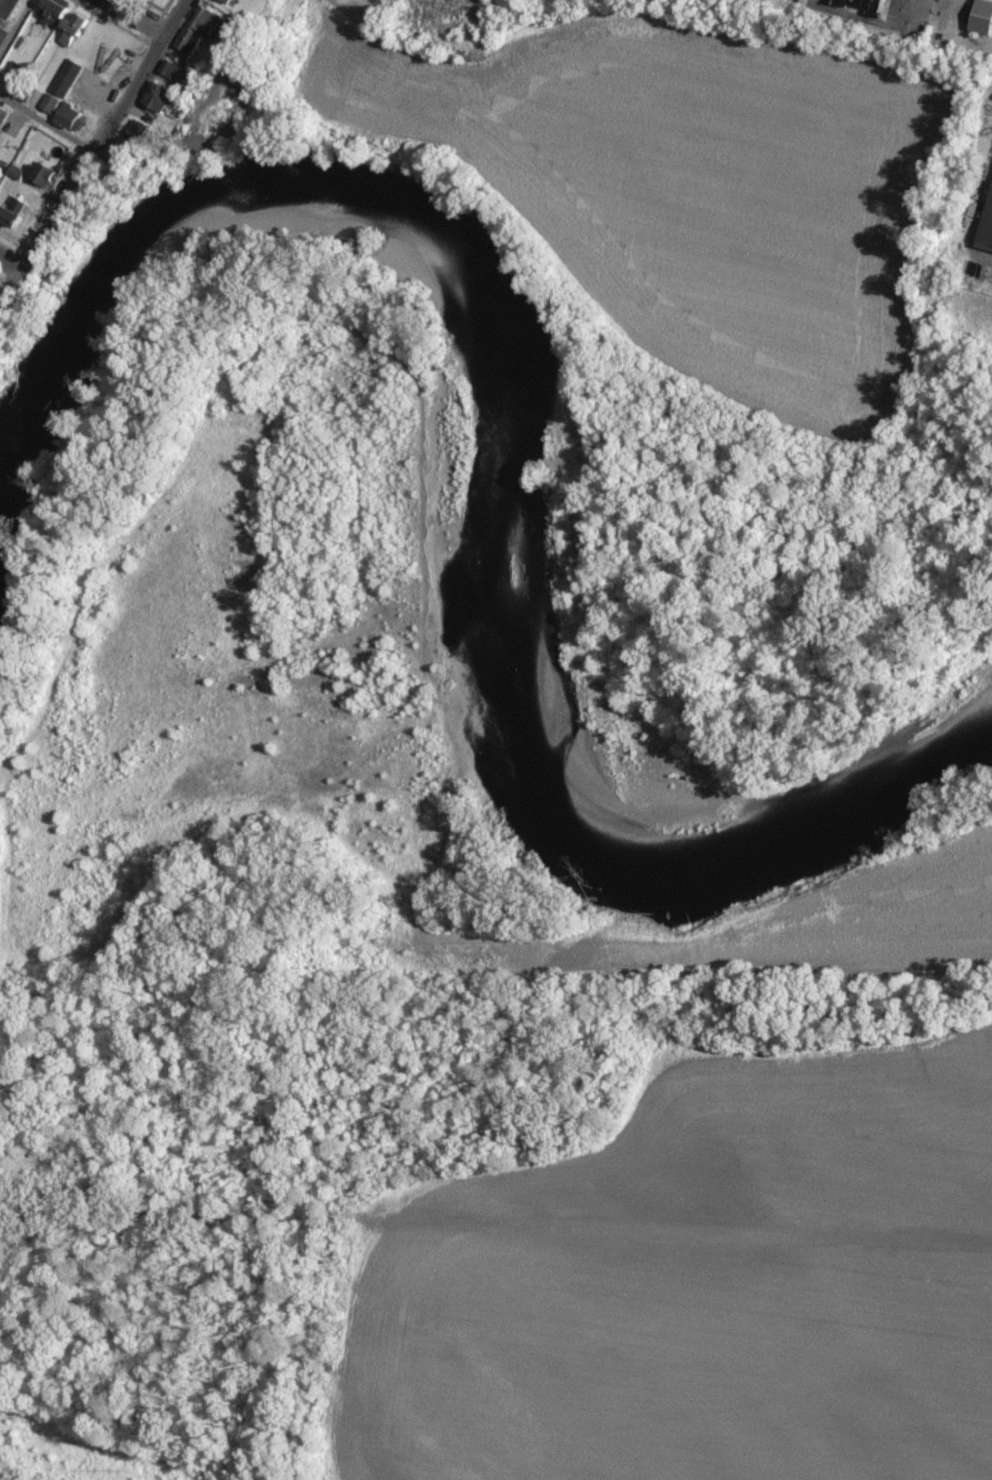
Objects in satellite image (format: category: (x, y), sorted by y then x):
building: (63, 2)
building: (865, 6)
building: (10, 8)
building: (53, 13)
road: (140, 14)
building: (983, 18)
building: (207, 23)
road: (17, 29)
building: (75, 29)
building: (2, 34)
building: (189, 41)
building: (16, 71)
building: (175, 72)
building: (67, 79)
building: (158, 98)
building: (50, 104)
building: (3, 118)
building: (71, 118)
road: (46, 120)
building: (130, 139)
road: (93, 149)
building: (42, 175)
building: (13, 212)
building: (987, 228)
road: (12, 256)
river: (517, 442)

